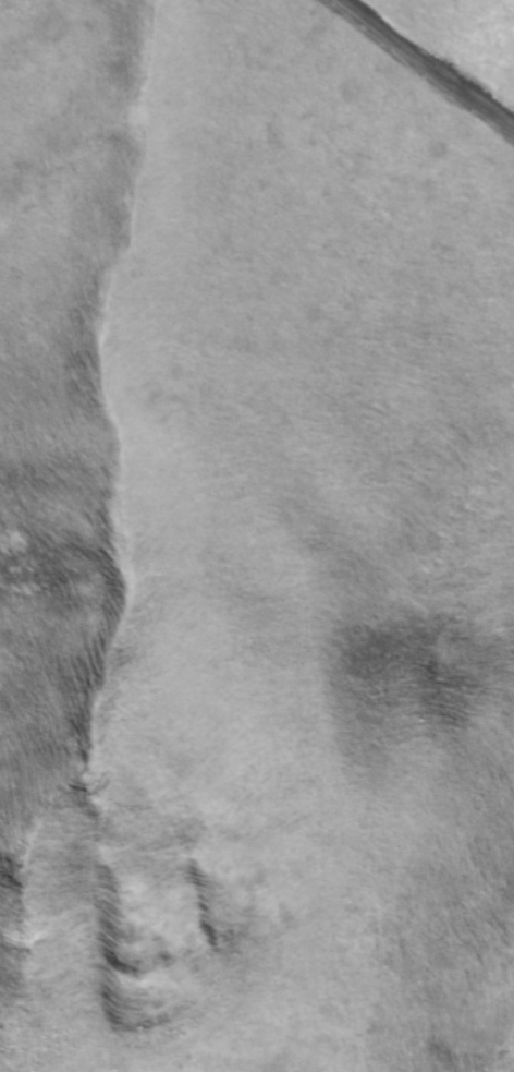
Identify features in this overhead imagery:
road: (428, 63)

